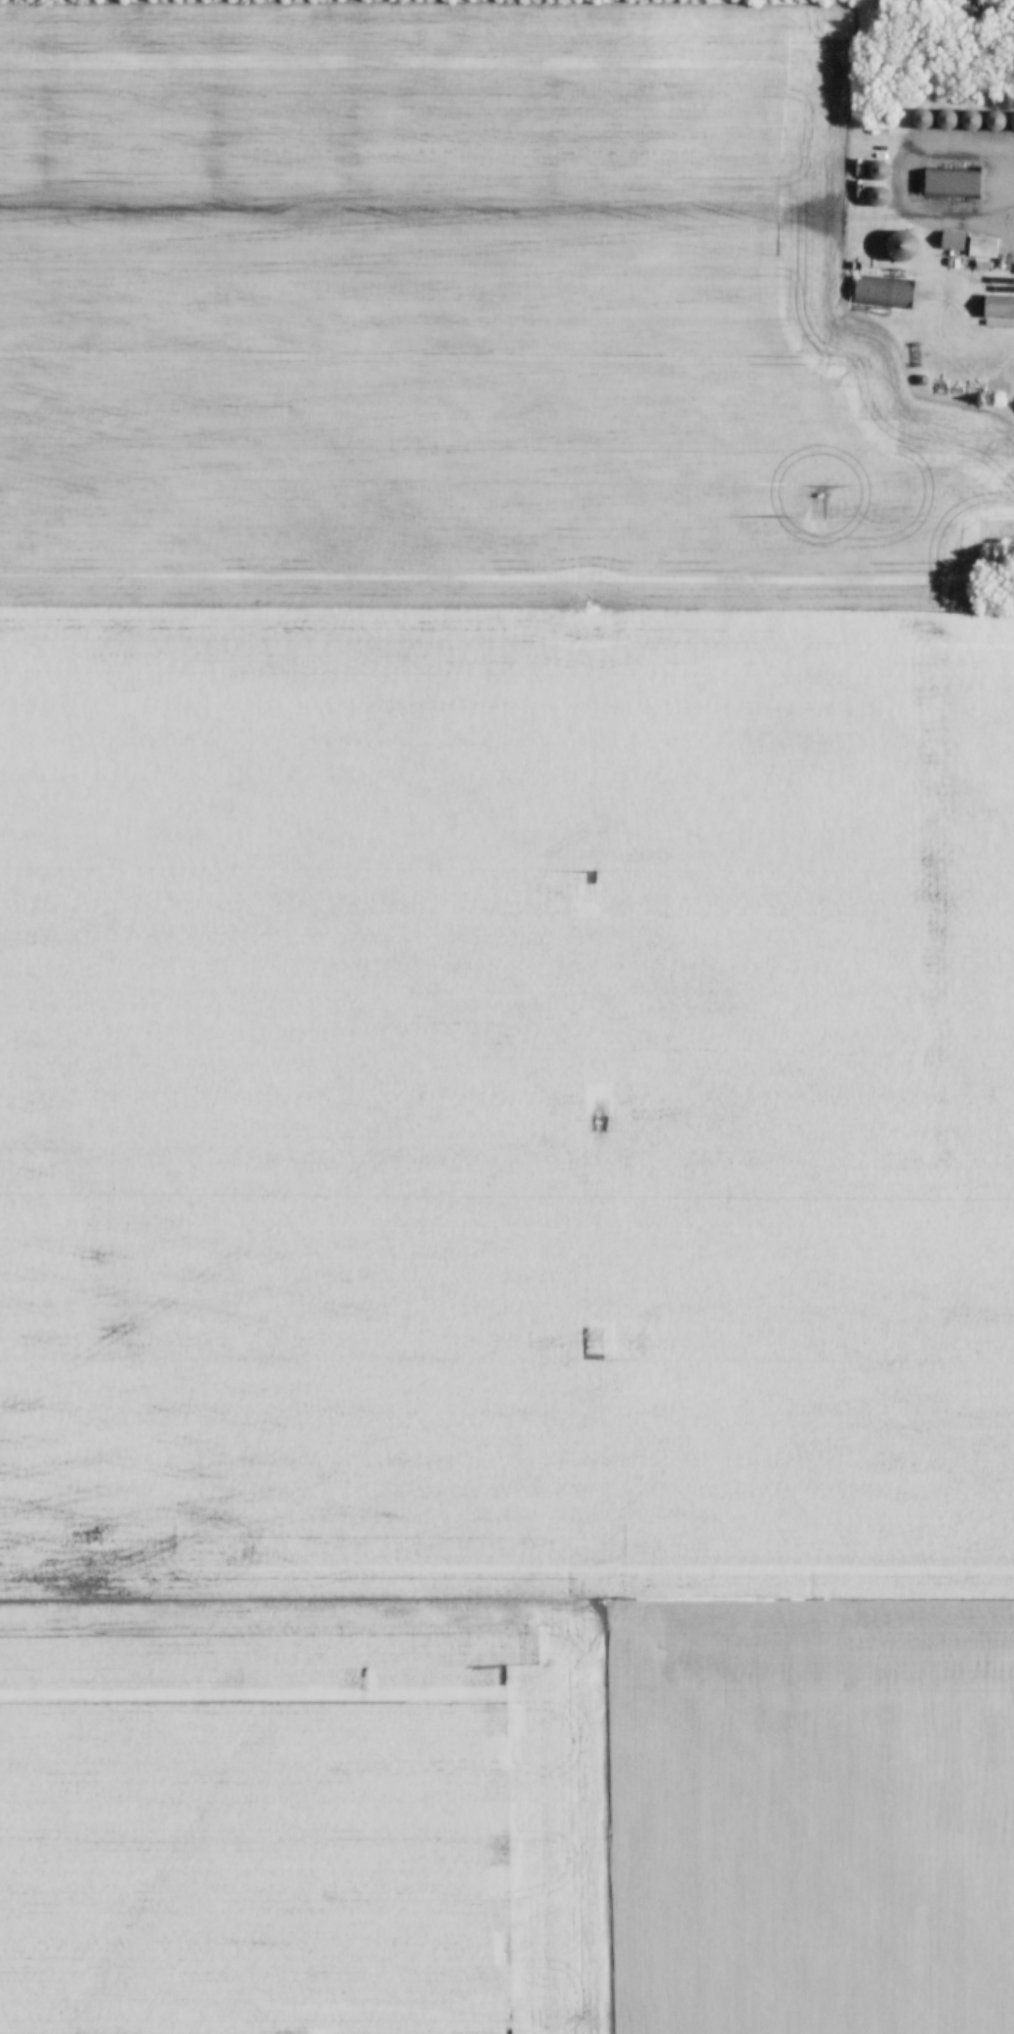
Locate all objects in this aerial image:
building: (944, 117)
building: (969, 119)
building: (993, 120)
building: (876, 169)
building: (949, 182)
building: (878, 195)
building: (950, 239)
building: (901, 244)
building: (980, 245)
building: (881, 289)
building: (997, 306)

